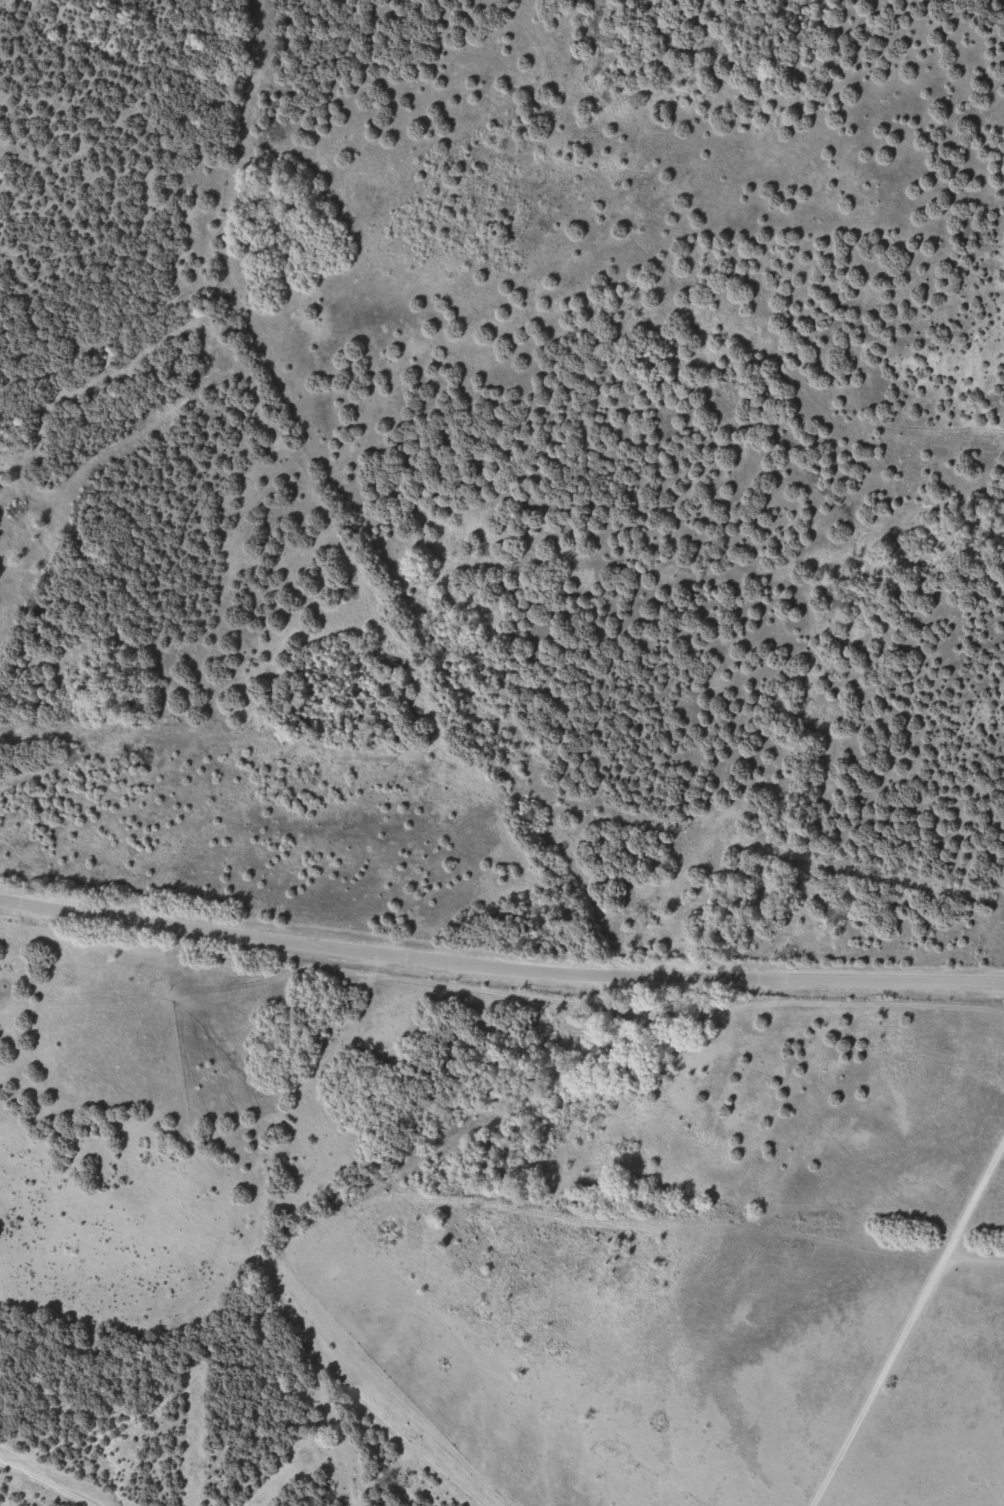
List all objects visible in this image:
road: (711, 285)
road: (499, 970)
road: (911, 1324)

